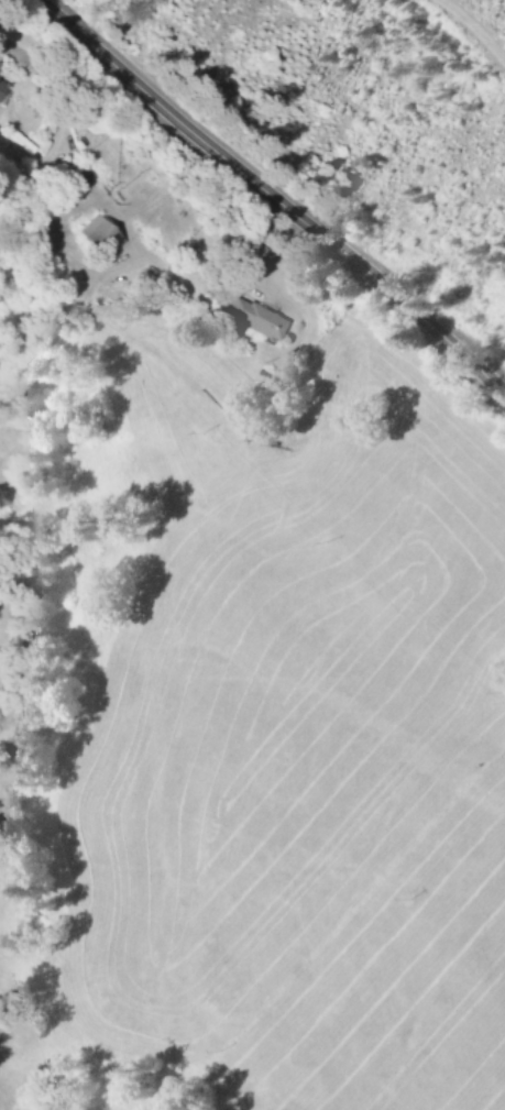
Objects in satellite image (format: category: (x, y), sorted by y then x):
road: (470, 34)
building: (3, 94)
road: (265, 201)
building: (95, 237)
building: (251, 316)

